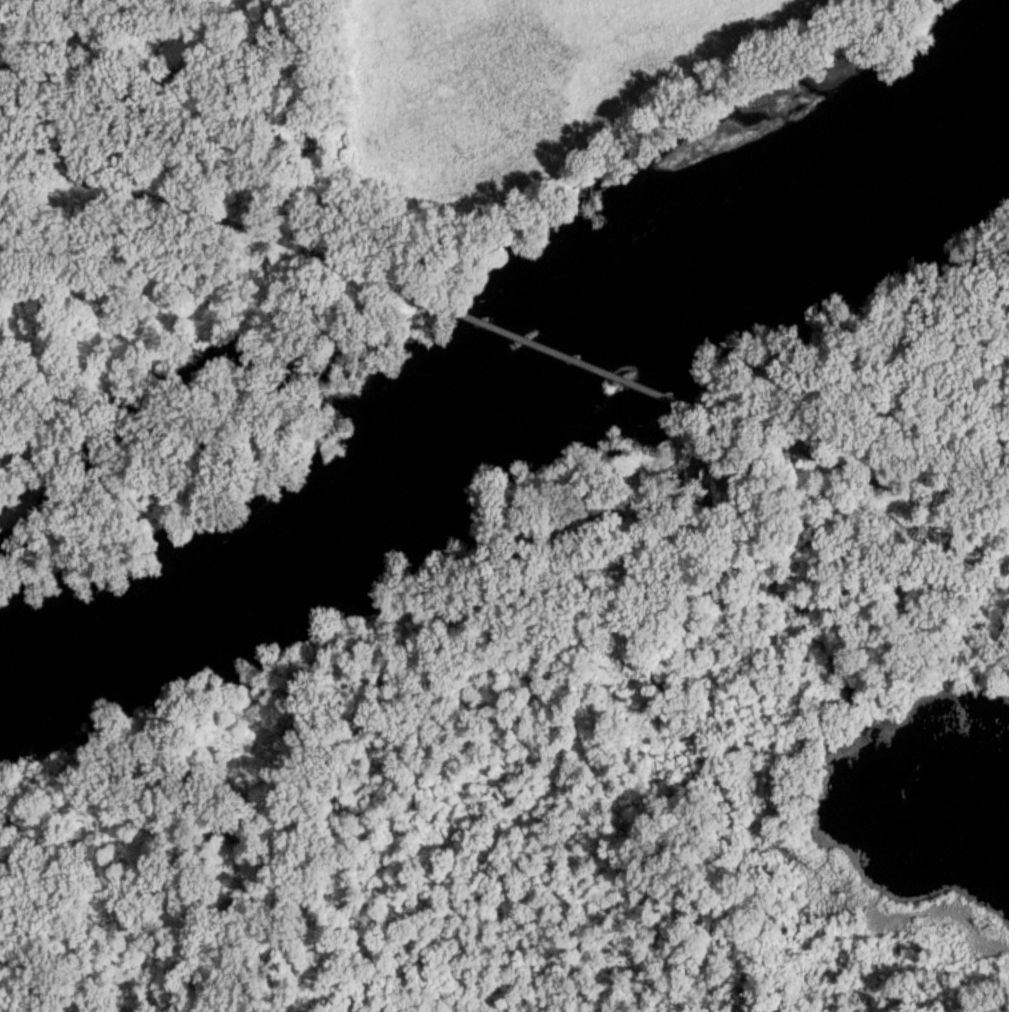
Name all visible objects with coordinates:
road: (228, 220)
road: (580, 354)
river: (509, 389)
road: (861, 464)

